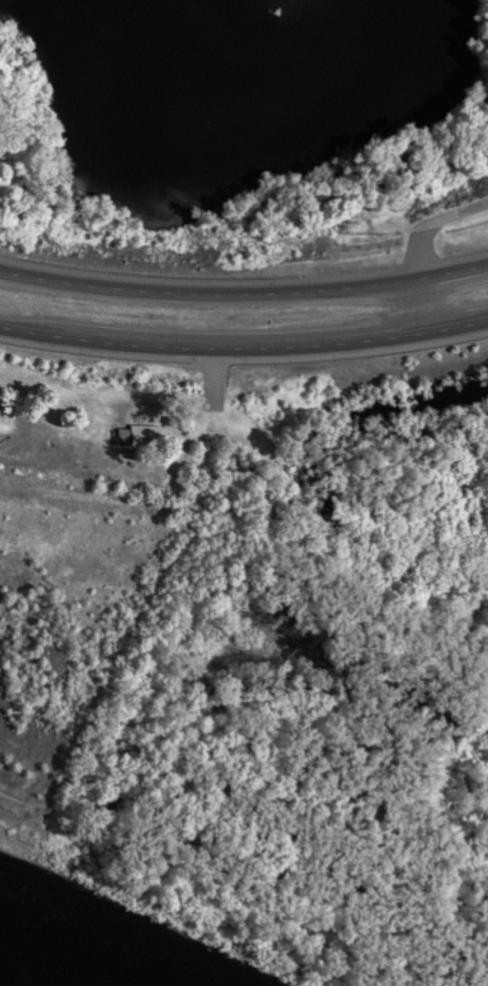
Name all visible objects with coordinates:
road: (432, 227)
road: (244, 297)
road: (244, 350)
building: (141, 436)

